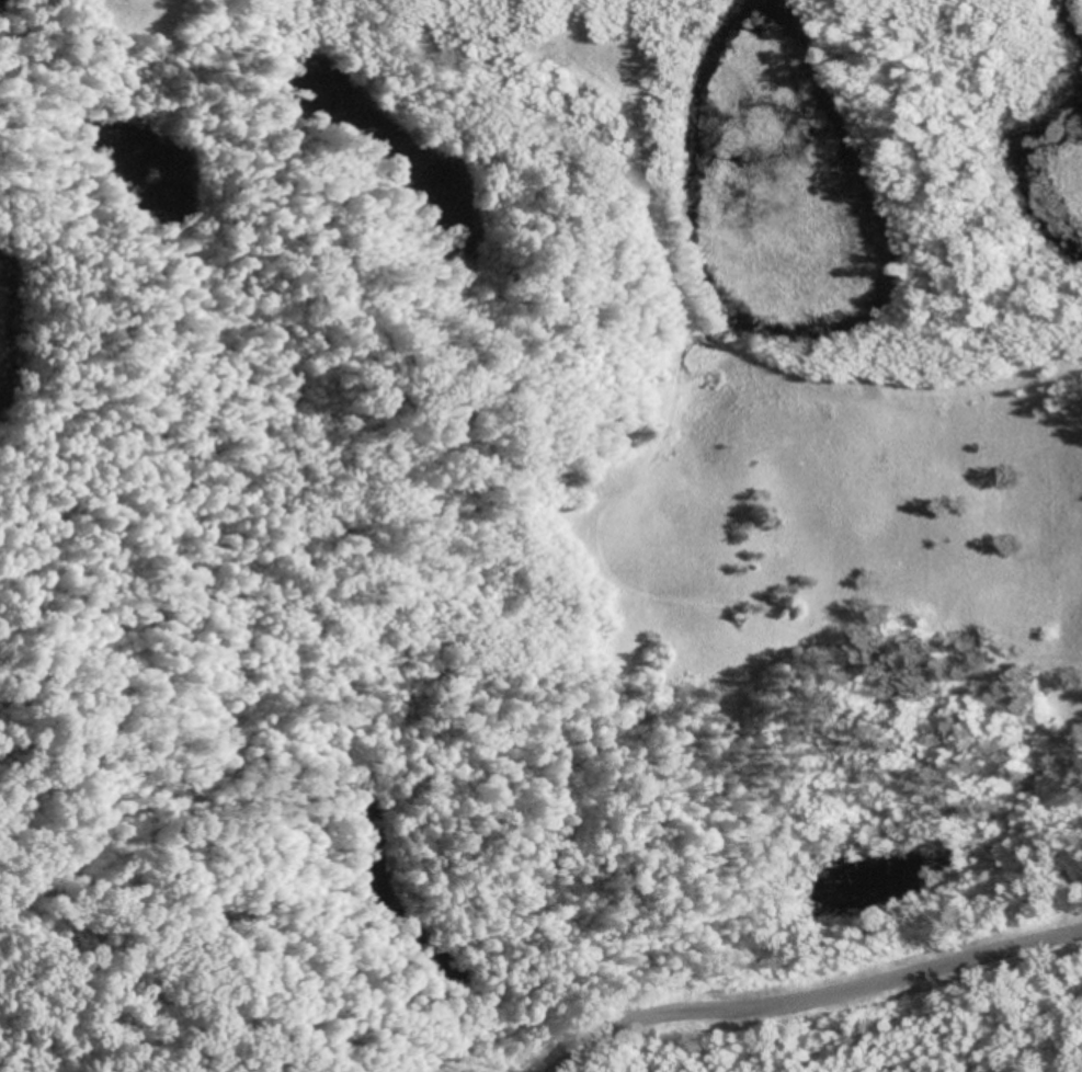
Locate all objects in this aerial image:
road: (817, 999)

